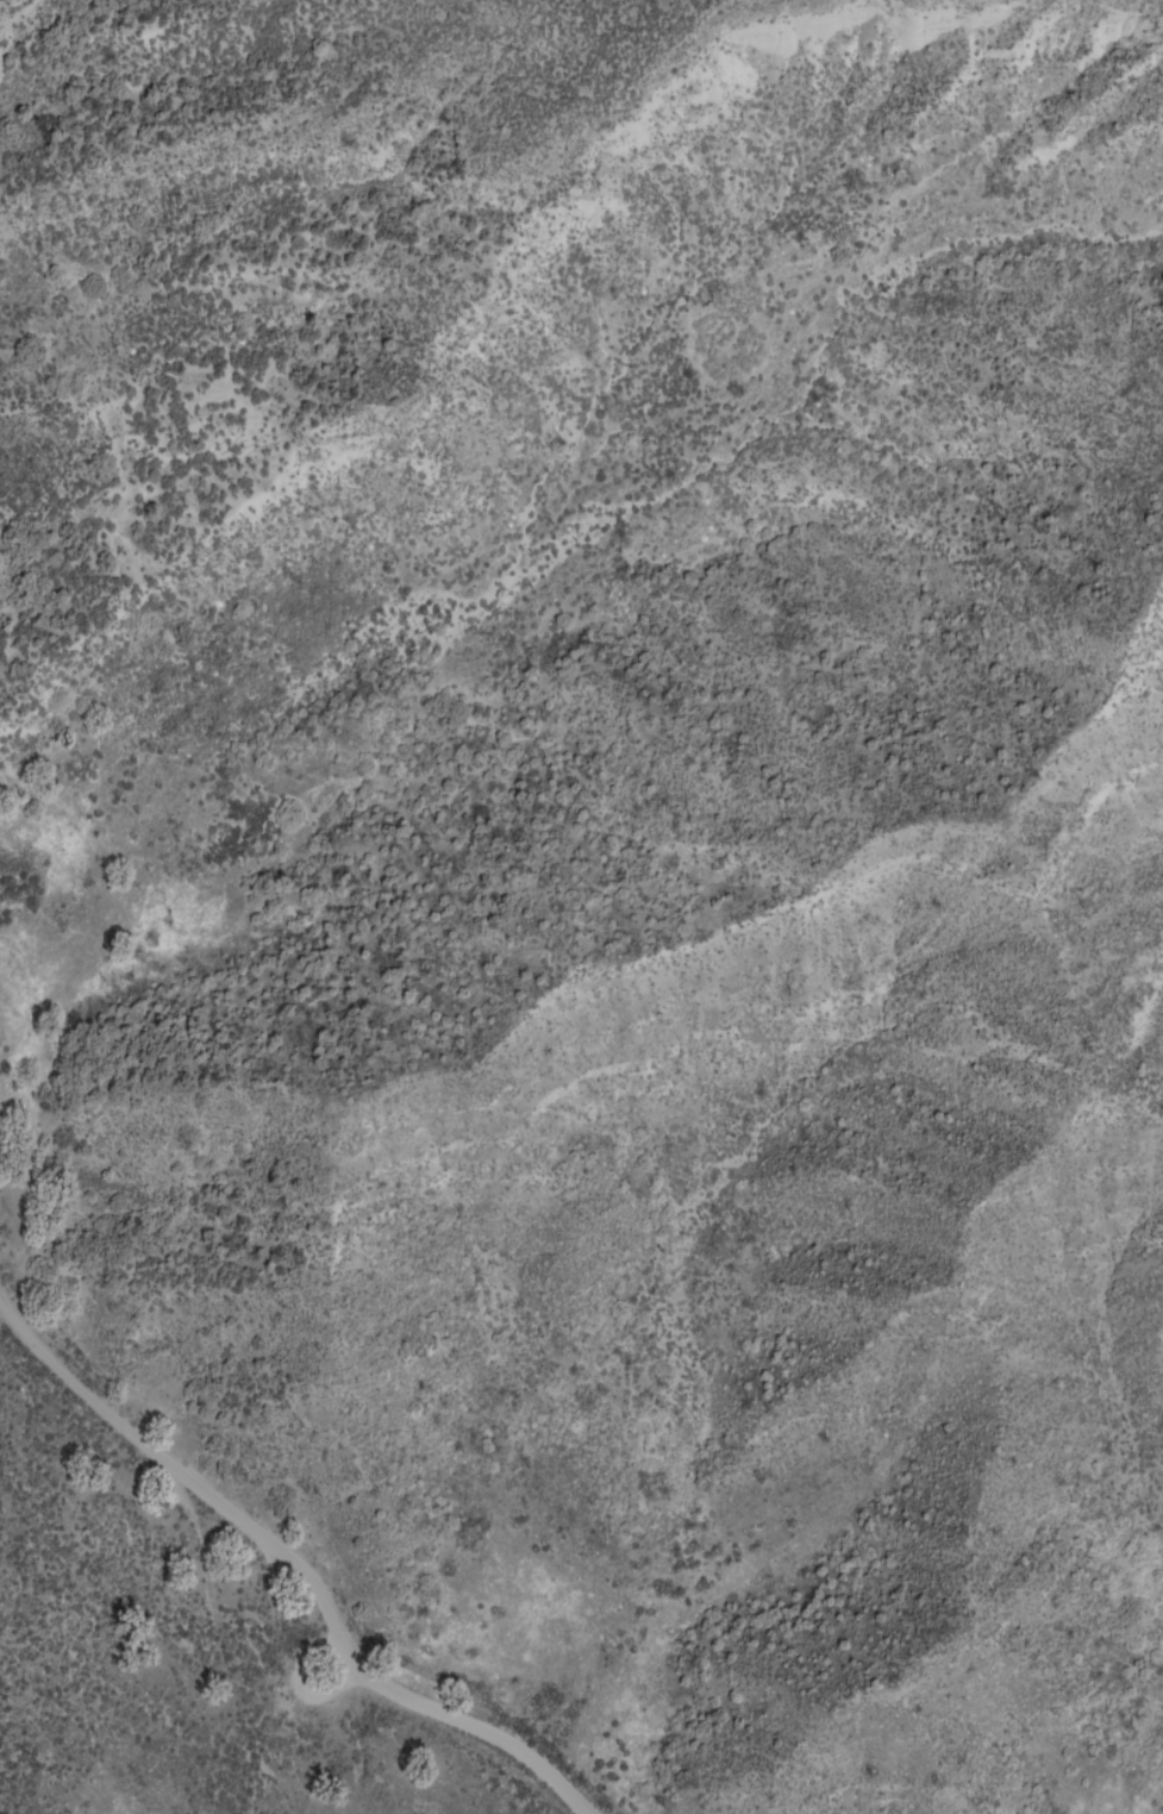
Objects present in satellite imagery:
road: (299, 1566)

